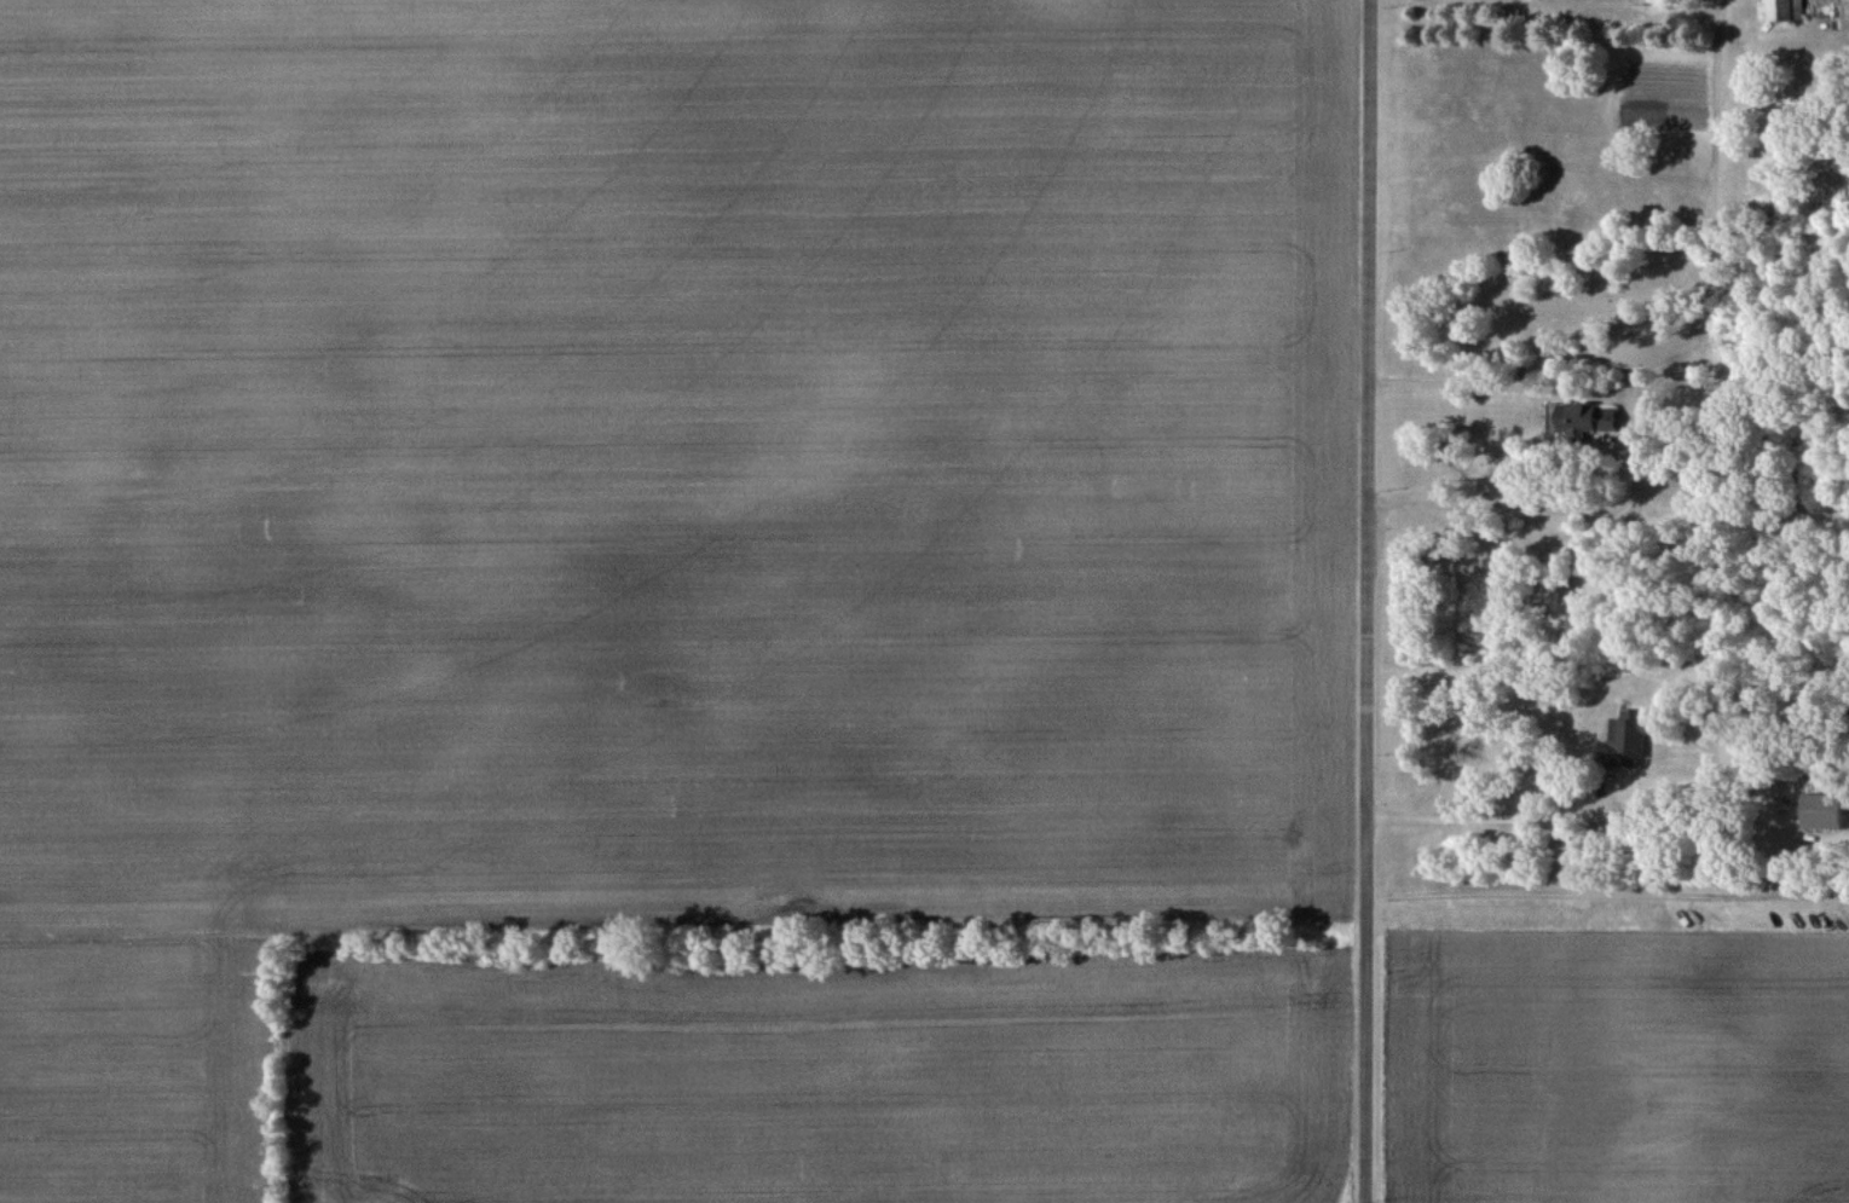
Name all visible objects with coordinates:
building: (1780, 10)
building: (1579, 413)
road: (1363, 601)
building: (1626, 739)
building: (1824, 810)
road: (1491, 817)

